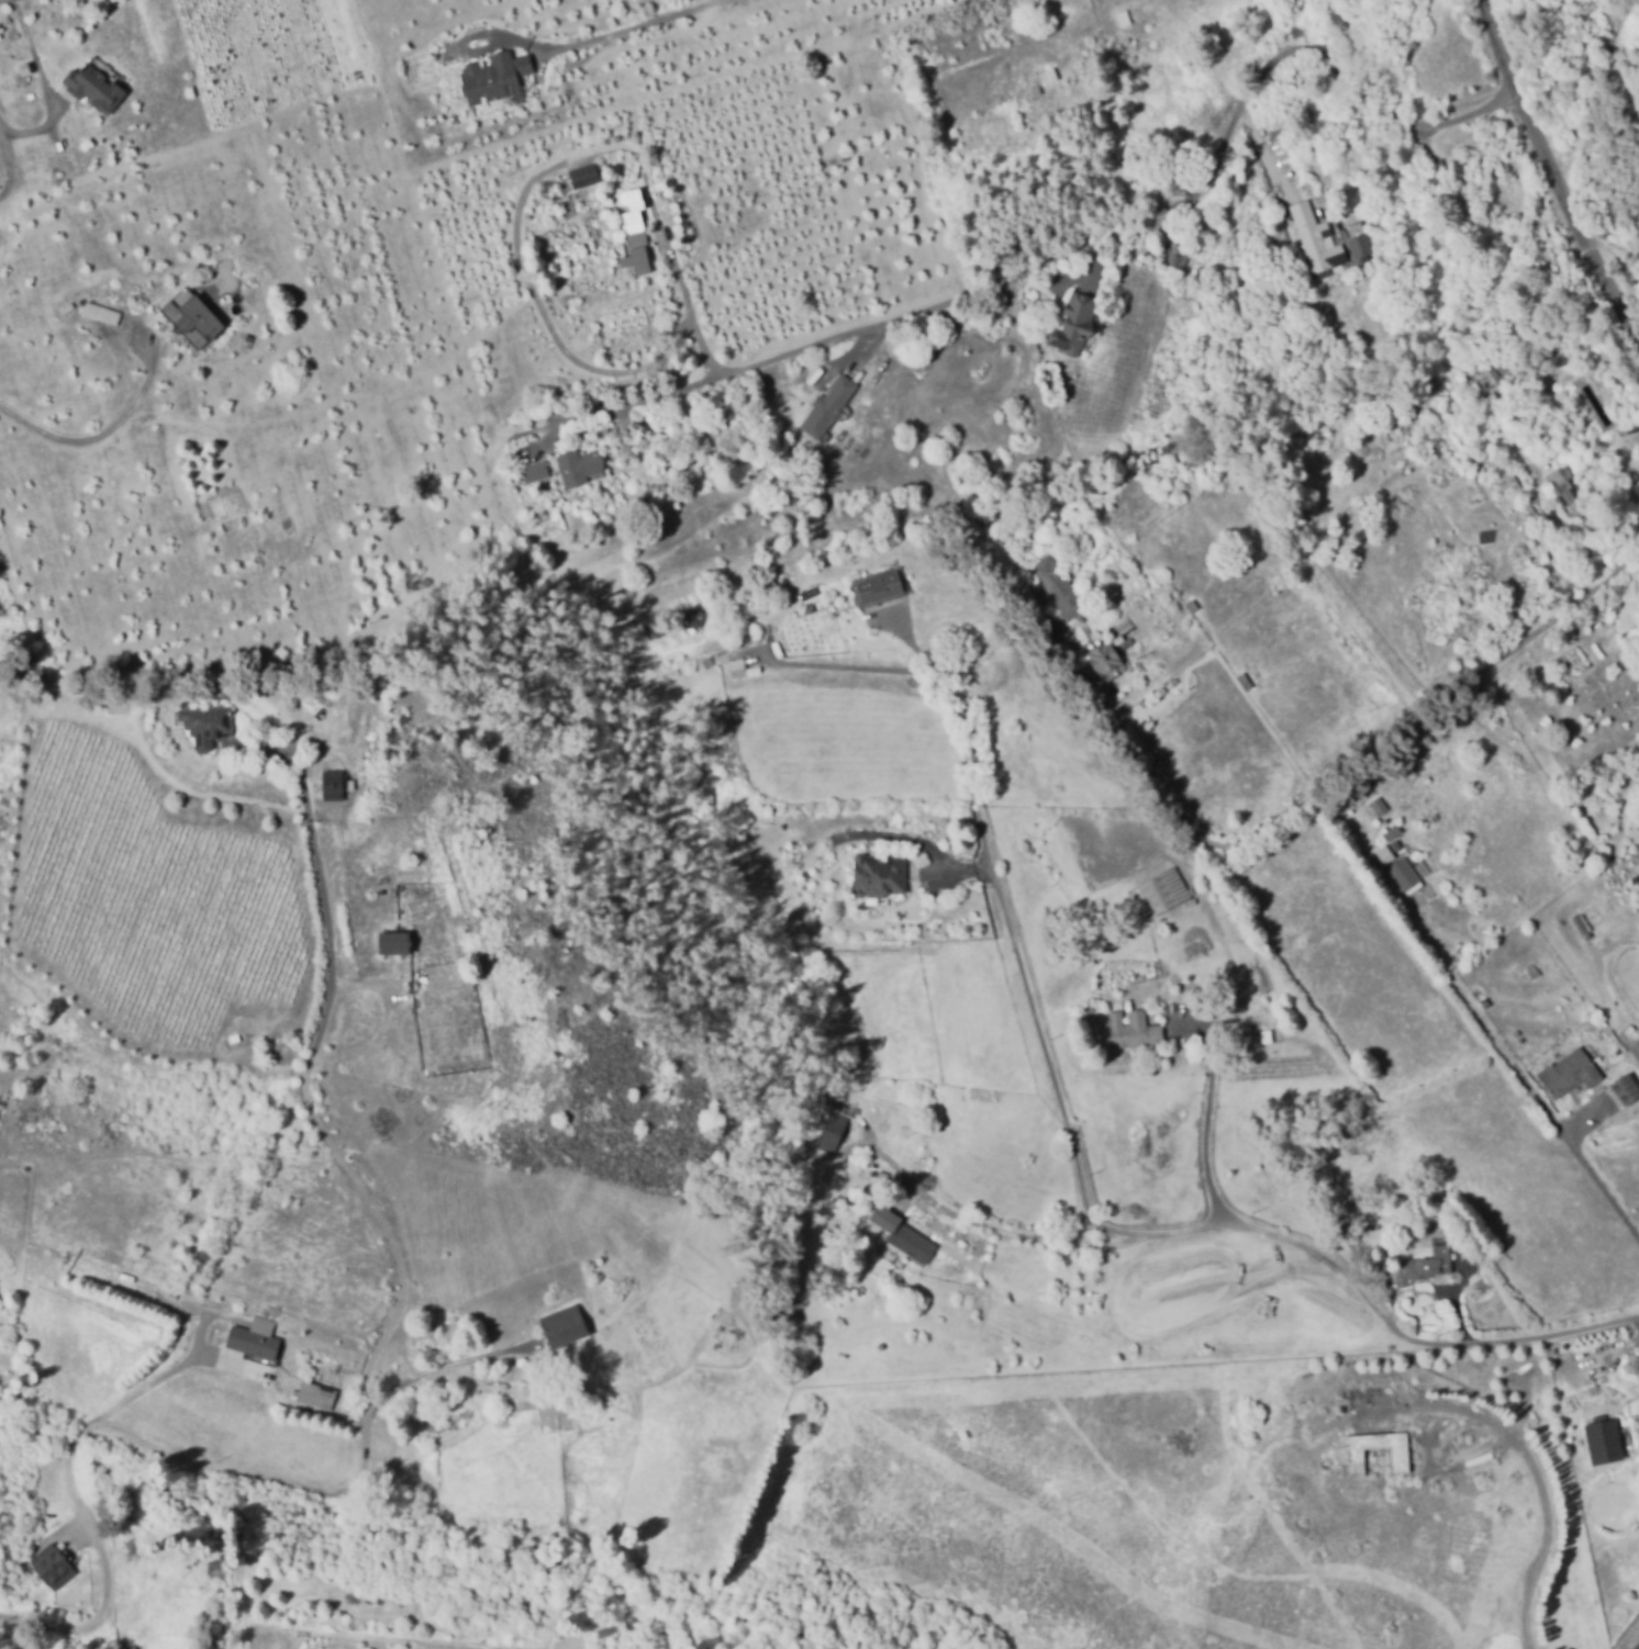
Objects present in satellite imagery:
road: (0, 0)
building: (1123, 16)
road: (645, 24)
building: (1234, 59)
building: (26, 68)
building: (498, 76)
building: (1047, 76)
road: (43, 85)
building: (96, 87)
building: (1147, 132)
building: (1436, 171)
building: (586, 175)
road: (9, 176)
road: (1551, 182)
building: (632, 207)
building: (638, 239)
building: (1354, 239)
road: (1090, 247)
building: (1182, 255)
road: (1615, 255)
building: (615, 272)
road: (681, 298)
building: (99, 313)
building: (194, 317)
building: (1075, 322)
building: (628, 325)
building: (1494, 378)
building: (829, 405)
road: (97, 434)
building: (1463, 435)
building: (581, 465)
building: (537, 471)
building: (1565, 490)
building: (1532, 509)
building: (881, 586)
building: (1061, 587)
building: (1193, 604)
building: (695, 616)
road: (910, 642)
building: (1106, 660)
building: (709, 661)
building: (738, 663)
road: (847, 668)
building: (1246, 681)
building: (204, 721)
building: (334, 785)
road: (1307, 800)
building: (1379, 805)
building: (1395, 838)
building: (1383, 854)
building: (1638, 857)
building: (1419, 868)
building: (1406, 874)
building: (881, 878)
building: (1160, 891)
building: (1585, 930)
building: (398, 942)
building: (1531, 971)
road: (1025, 973)
building: (1135, 1031)
building: (1268, 1034)
road: (1219, 1047)
building: (1636, 1052)
building: (1571, 1076)
road: (306, 1091)
building: (1628, 1092)
building: (836, 1129)
road: (1603, 1184)
road: (1000, 1231)
road: (1193, 1234)
building: (914, 1245)
building: (1425, 1264)
building: (564, 1325)
building: (216, 1335)
road: (1415, 1340)
building: (254, 1342)
building: (1597, 1358)
road: (172, 1372)
building: (1604, 1383)
building: (317, 1395)
building: (592, 1409)
building: (556, 1410)
building: (1606, 1444)
building: (1402, 1457)
road: (196, 1467)
road: (1537, 1481)
building: (54, 1569)

